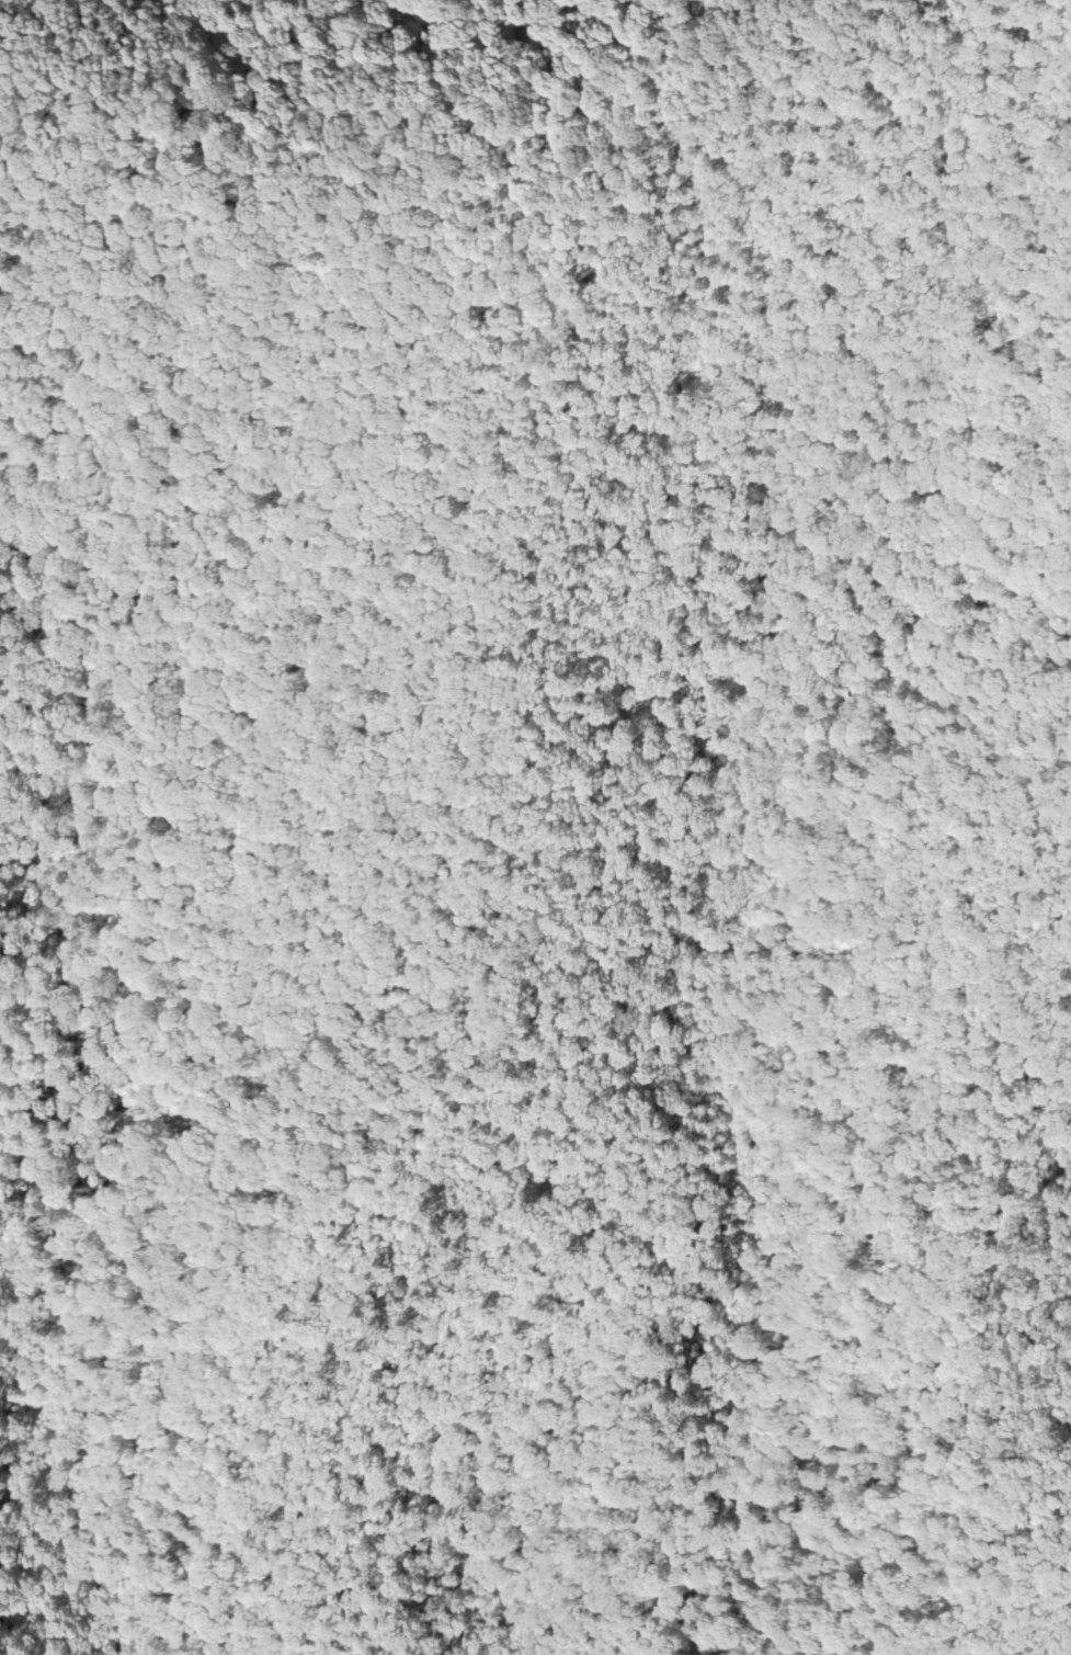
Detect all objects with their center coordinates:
road: (591, 283)

